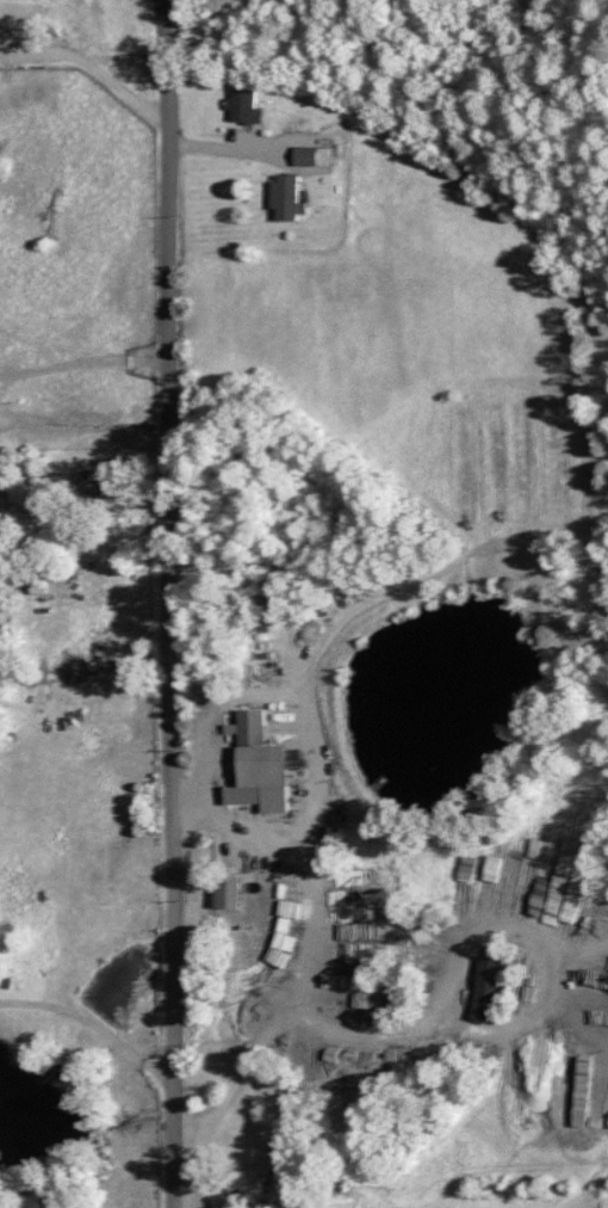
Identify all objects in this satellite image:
building: (242, 104)
building: (308, 154)
building: (283, 197)
road: (83, 363)
building: (92, 483)
building: (35, 581)
road: (169, 603)
building: (256, 752)
road: (322, 781)
building: (222, 890)
building: (483, 986)
road: (92, 1022)
building: (262, 1204)

